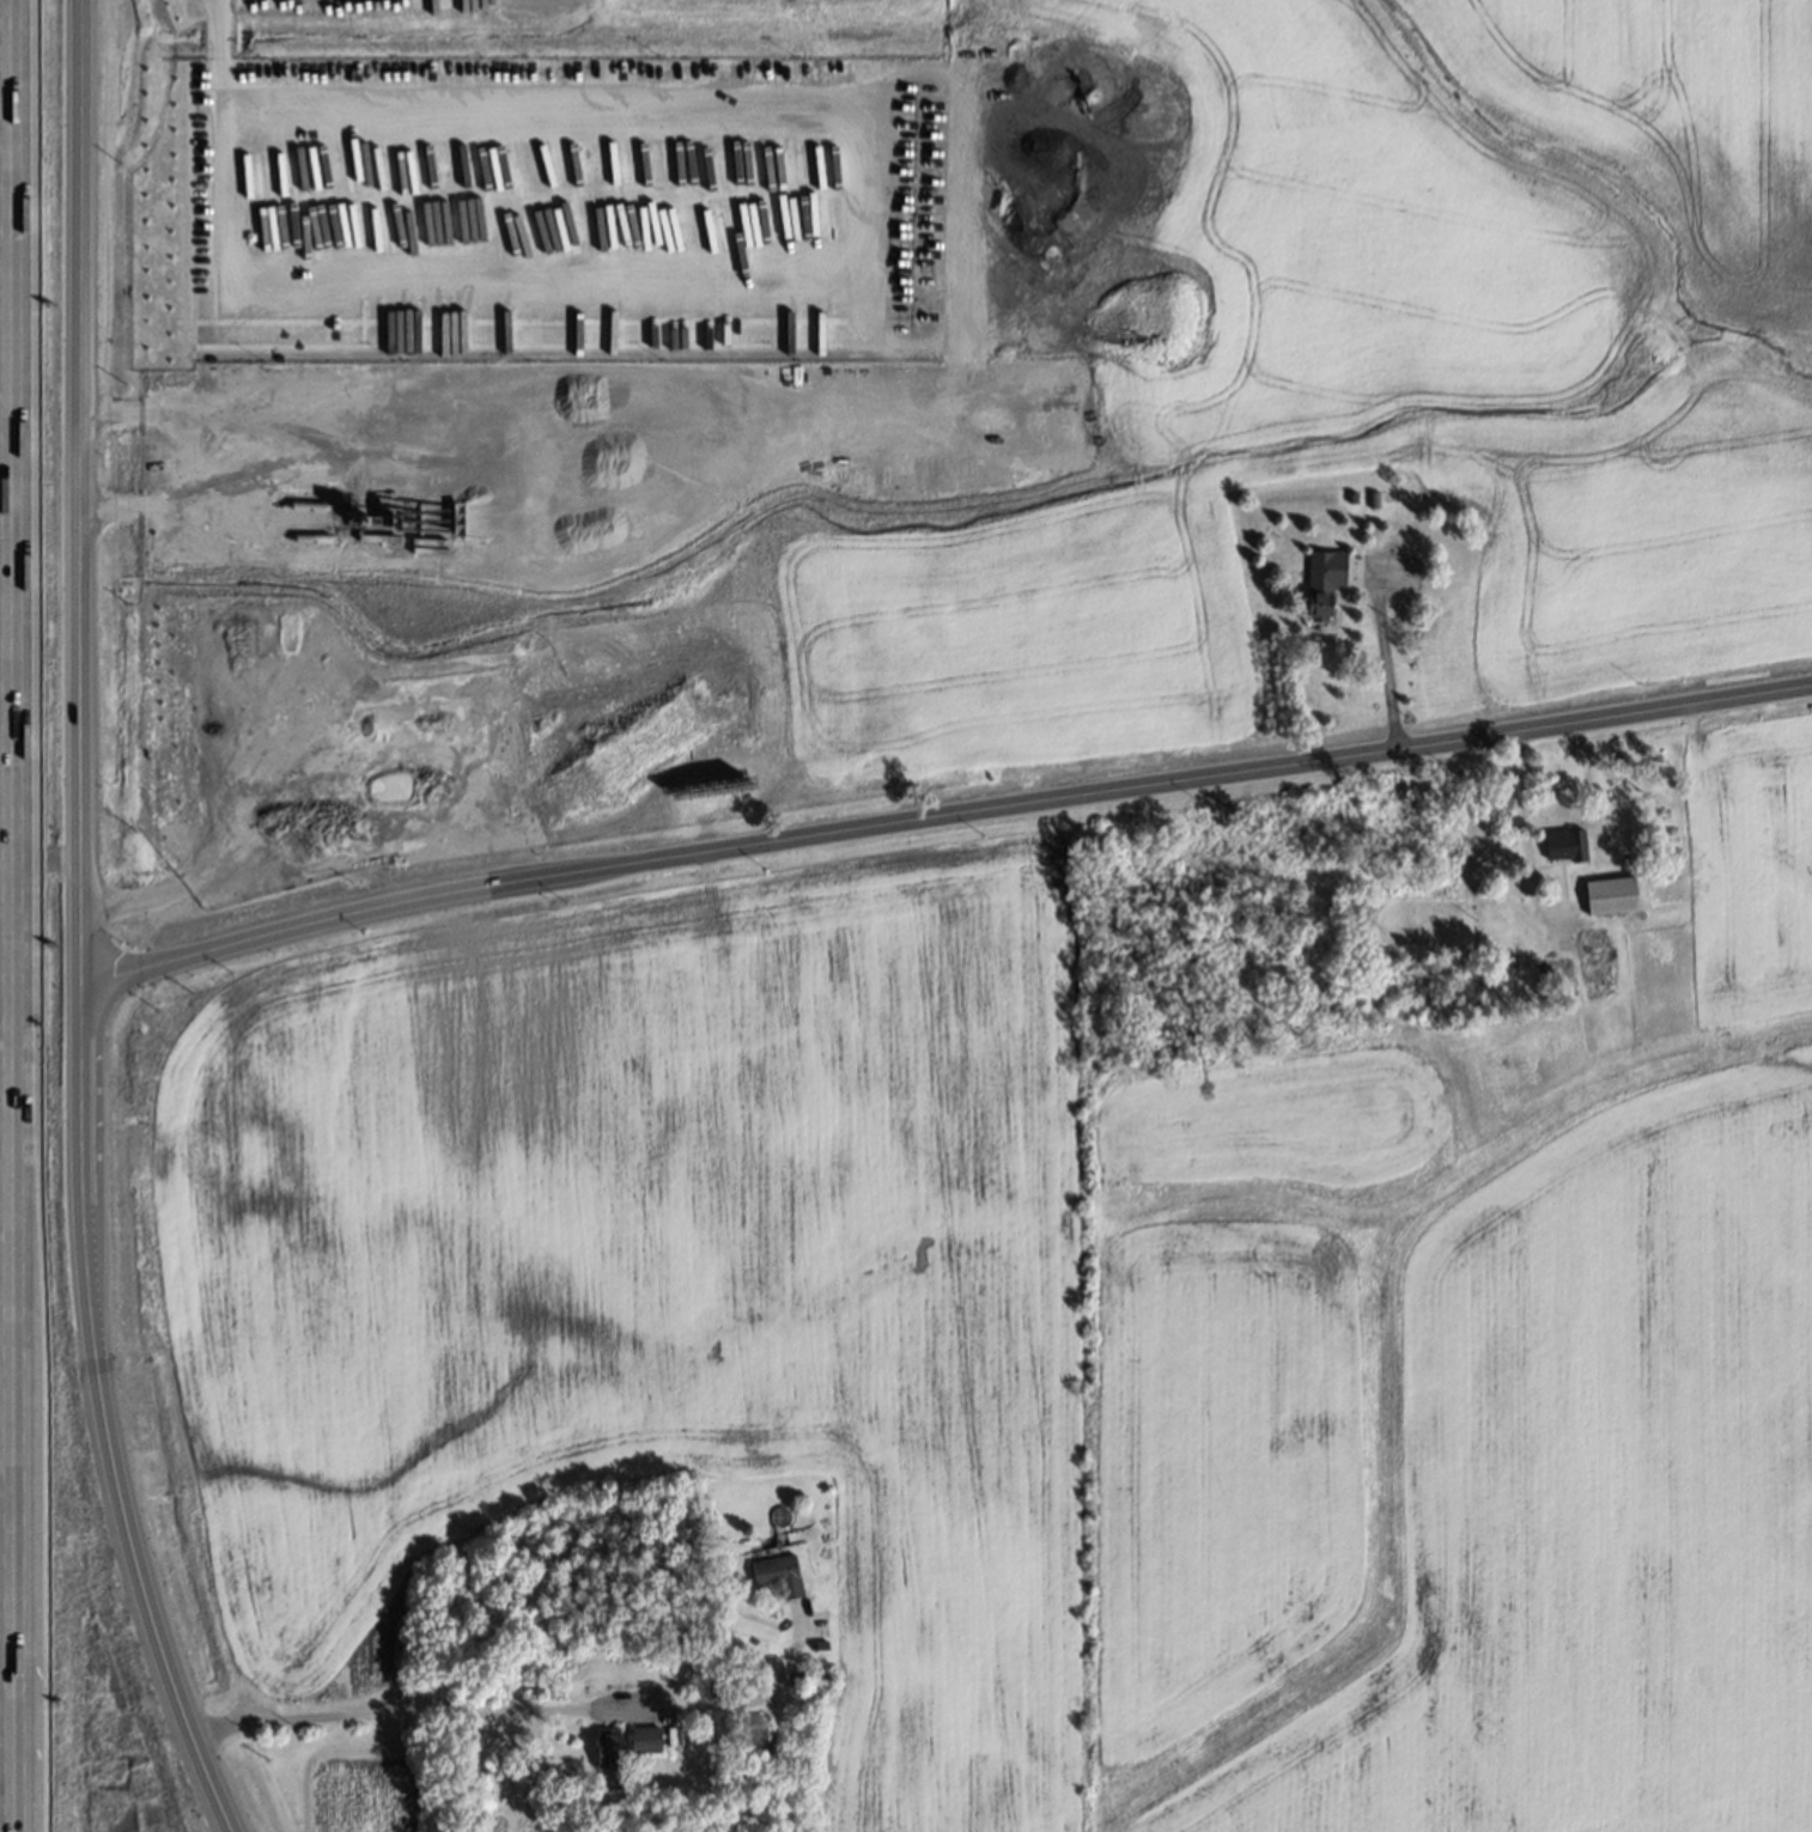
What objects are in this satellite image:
road: (225, 54)
road: (867, 275)
road: (177, 459)
building: (1325, 582)
road: (1390, 665)
road: (942, 817)
building: (1567, 844)
building: (1612, 894)
road: (11, 901)
road: (79, 927)
crop: (1026, 1326)
building: (776, 1568)
road: (516, 1711)
building: (646, 1739)
building: (610, 1745)
road: (19, 1818)

